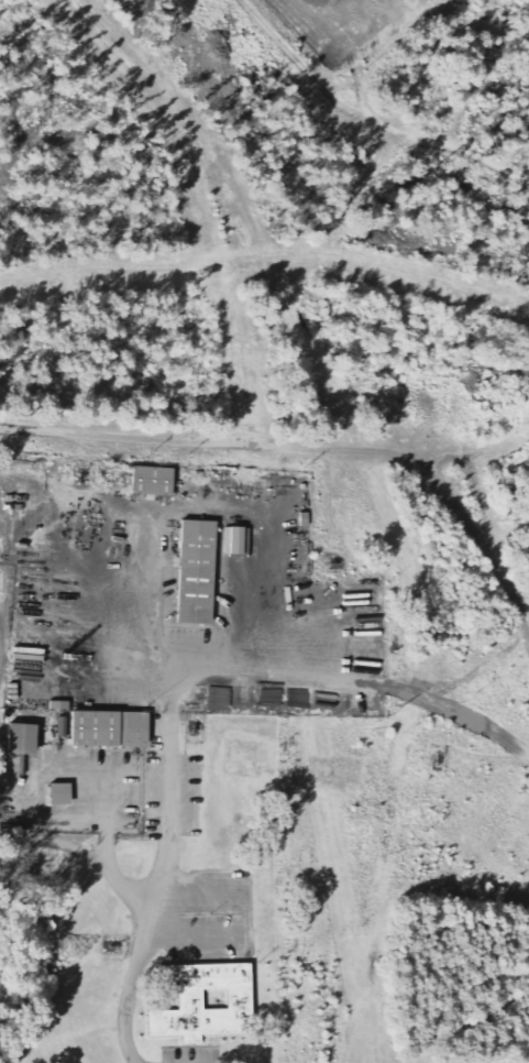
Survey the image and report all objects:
road: (365, 119)
road: (312, 451)
building: (151, 480)
road: (188, 507)
building: (196, 571)
road: (476, 669)
road: (254, 676)
building: (63, 706)
road: (460, 715)
building: (65, 728)
building: (109, 730)
building: (21, 738)
road: (107, 774)
building: (62, 794)
road: (53, 843)
road: (106, 851)
road: (123, 888)
road: (156, 890)
road: (244, 920)
building: (203, 1001)

